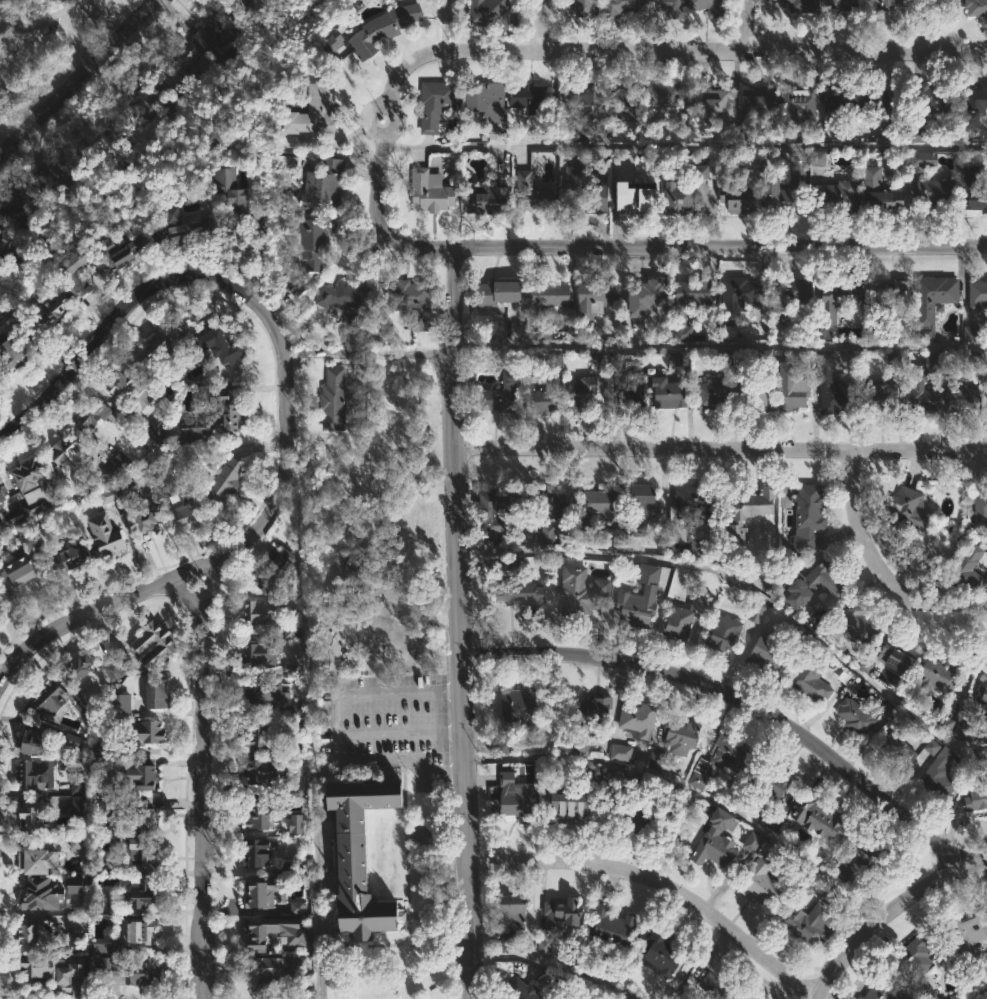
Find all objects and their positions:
building: (843, 2)
building: (892, 4)
building: (803, 5)
building: (710, 6)
building: (619, 7)
building: (977, 7)
building: (588, 8)
building: (670, 8)
building: (490, 9)
building: (952, 9)
road: (25, 21)
road: (537, 25)
road: (753, 25)
building: (215, 27)
building: (382, 30)
road: (40, 35)
road: (88, 37)
building: (332, 42)
road: (492, 50)
road: (869, 51)
building: (175, 66)
road: (78, 84)
building: (146, 96)
building: (490, 96)
building: (666, 96)
building: (573, 97)
building: (530, 98)
building: (941, 98)
building: (762, 99)
building: (623, 101)
building: (852, 101)
building: (710, 103)
building: (438, 104)
building: (801, 104)
building: (976, 106)
building: (317, 109)
building: (583, 132)
building: (741, 132)
building: (112, 141)
building: (817, 158)
building: (923, 159)
building: (60, 166)
building: (701, 172)
building: (326, 183)
building: (974, 189)
building: (236, 190)
building: (431, 190)
building: (939, 191)
building: (534, 192)
building: (883, 192)
building: (585, 193)
building: (785, 193)
building: (640, 197)
building: (837, 197)
building: (490, 199)
building: (681, 199)
building: (740, 199)
building: (19, 210)
building: (184, 227)
building: (315, 240)
building: (6, 241)
road: (722, 245)
road: (410, 247)
building: (124, 250)
building: (78, 264)
building: (893, 290)
building: (499, 291)
building: (650, 292)
building: (550, 294)
building: (791, 295)
building: (978, 296)
building: (596, 297)
building: (743, 298)
building: (349, 299)
building: (839, 299)
building: (414, 301)
building: (934, 302)
building: (692, 304)
building: (55, 309)
building: (873, 331)
building: (970, 333)
building: (165, 343)
road: (722, 346)
building: (228, 347)
building: (20, 350)
building: (613, 357)
building: (765, 357)
building: (976, 357)
building: (553, 359)
building: (510, 381)
building: (125, 385)
building: (924, 386)
building: (834, 387)
building: (750, 389)
building: (792, 390)
building: (630, 391)
building: (670, 393)
building: (583, 394)
building: (714, 394)
building: (338, 395)
building: (879, 395)
building: (963, 397)
building: (541, 401)
road: (287, 404)
building: (95, 416)
building: (216, 417)
building: (161, 426)
building: (69, 451)
road: (721, 451)
building: (115, 468)
building: (224, 483)
building: (35, 486)
building: (128, 486)
building: (3, 489)
building: (108, 495)
building: (698, 499)
building: (553, 505)
building: (981, 505)
building: (642, 506)
building: (181, 507)
building: (597, 507)
building: (909, 507)
building: (753, 511)
building: (499, 512)
building: (809, 516)
building: (14, 517)
building: (146, 519)
building: (107, 534)
building: (547, 534)
building: (616, 537)
building: (698, 545)
building: (71, 557)
building: (21, 566)
building: (351, 567)
road: (883, 569)
building: (969, 569)
building: (274, 573)
building: (814, 585)
road: (744, 588)
building: (580, 592)
building: (0, 594)
building: (522, 596)
road: (186, 597)
building: (640, 599)
building: (0, 604)
building: (756, 613)
building: (262, 616)
building: (687, 616)
road: (460, 623)
building: (858, 624)
building: (290, 631)
building: (725, 633)
building: (154, 645)
building: (773, 647)
building: (261, 654)
building: (900, 654)
building: (117, 662)
building: (77, 668)
building: (291, 671)
building: (939, 674)
building: (813, 681)
road: (380, 693)
building: (983, 693)
building: (158, 696)
building: (272, 698)
road: (739, 698)
building: (51, 701)
building: (121, 703)
building: (325, 713)
building: (516, 715)
building: (857, 716)
building: (639, 718)
building: (593, 721)
building: (961, 730)
building: (145, 732)
building: (683, 736)
building: (258, 739)
building: (39, 740)
building: (931, 747)
road: (336, 751)
building: (901, 751)
building: (622, 753)
building: (100, 756)
building: (655, 759)
building: (979, 759)
building: (723, 760)
building: (25, 771)
building: (261, 775)
building: (595, 775)
building: (940, 777)
building: (146, 778)
building: (76, 783)
building: (773, 783)
road: (203, 784)
building: (978, 797)
building: (511, 798)
building: (570, 805)
building: (79, 812)
building: (259, 813)
building: (639, 815)
building: (32, 817)
building: (143, 818)
building: (823, 819)
building: (295, 823)
building: (77, 838)
building: (751, 841)
building: (717, 842)
building: (144, 849)
building: (258, 851)
building: (361, 856)
building: (863, 858)
building: (36, 859)
road: (314, 874)
building: (764, 877)
road: (659, 882)
building: (74, 885)
building: (259, 891)
building: (42, 893)
building: (140, 893)
building: (96, 901)
building: (296, 907)
building: (516, 909)
road: (889, 915)
building: (559, 919)
building: (615, 924)
building: (809, 924)
building: (139, 932)
building: (274, 932)
building: (965, 934)
building: (29, 938)
building: (72, 939)
building: (508, 940)
building: (663, 954)
building: (915, 959)
road: (553, 966)
building: (53, 969)
building: (271, 969)
building: (127, 970)
building: (727, 987)
building: (884, 988)
building: (521, 990)
building: (925, 991)
road: (978, 993)
building: (598, 995)

